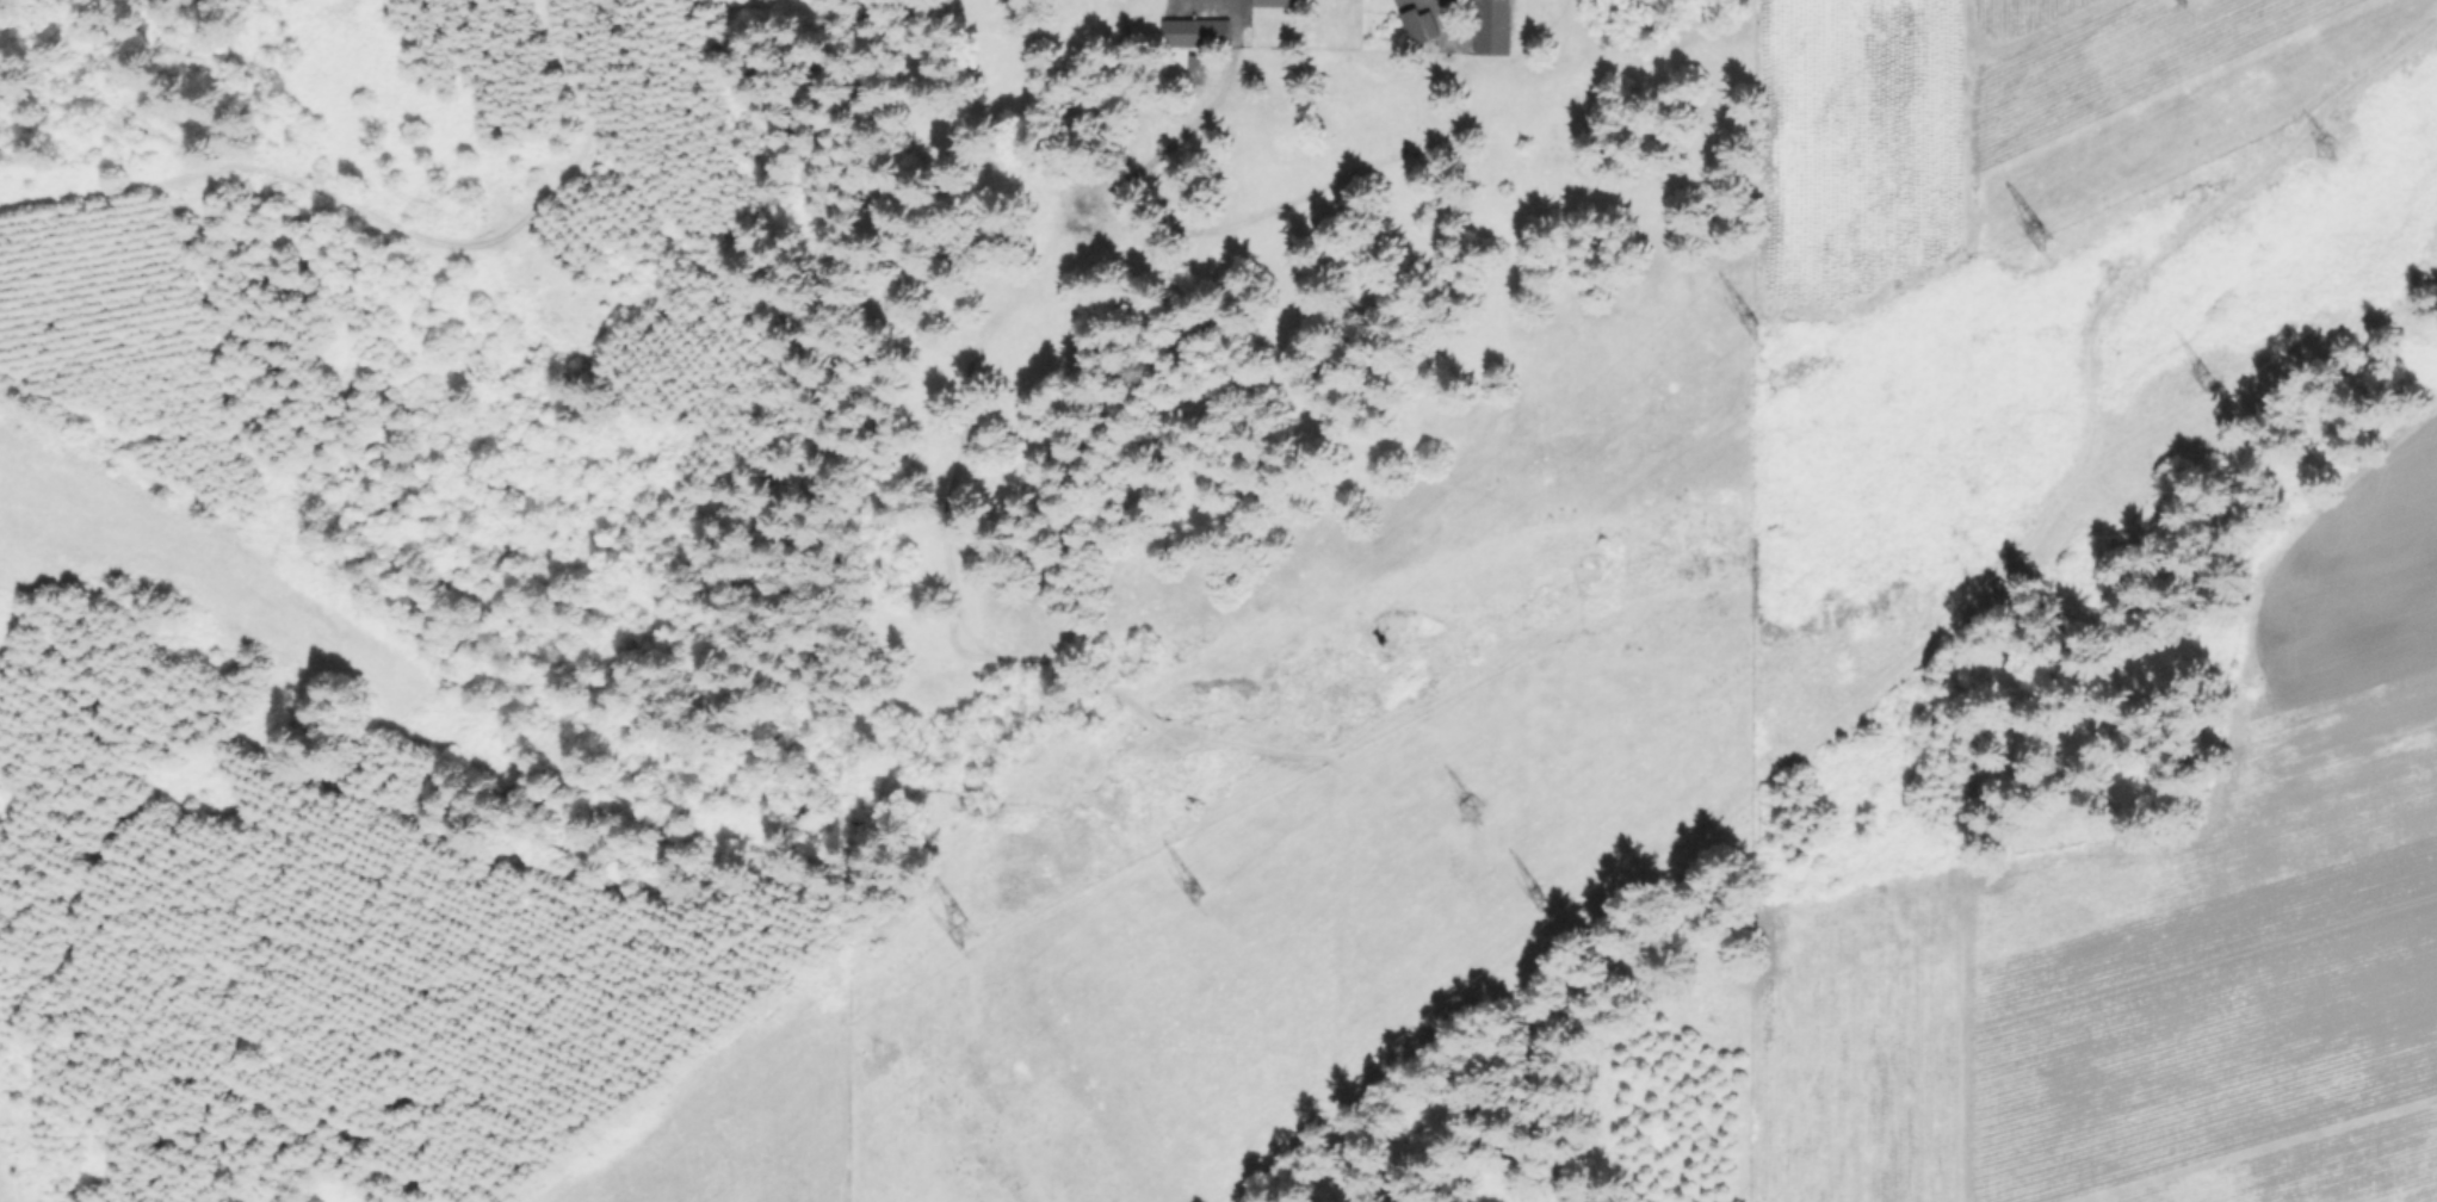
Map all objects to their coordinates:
building: (1273, 2)
building: (1415, 26)
building: (1495, 27)
building: (1196, 32)
building: (1196, 69)
power tower: (2318, 148)
power tower: (2021, 228)
power tower: (1744, 315)
power tower: (2187, 377)
power tower: (1465, 804)
power tower: (1186, 891)
power tower: (1528, 892)
building: (1196, 898)
power tower: (952, 928)
crop: (2121, 953)

